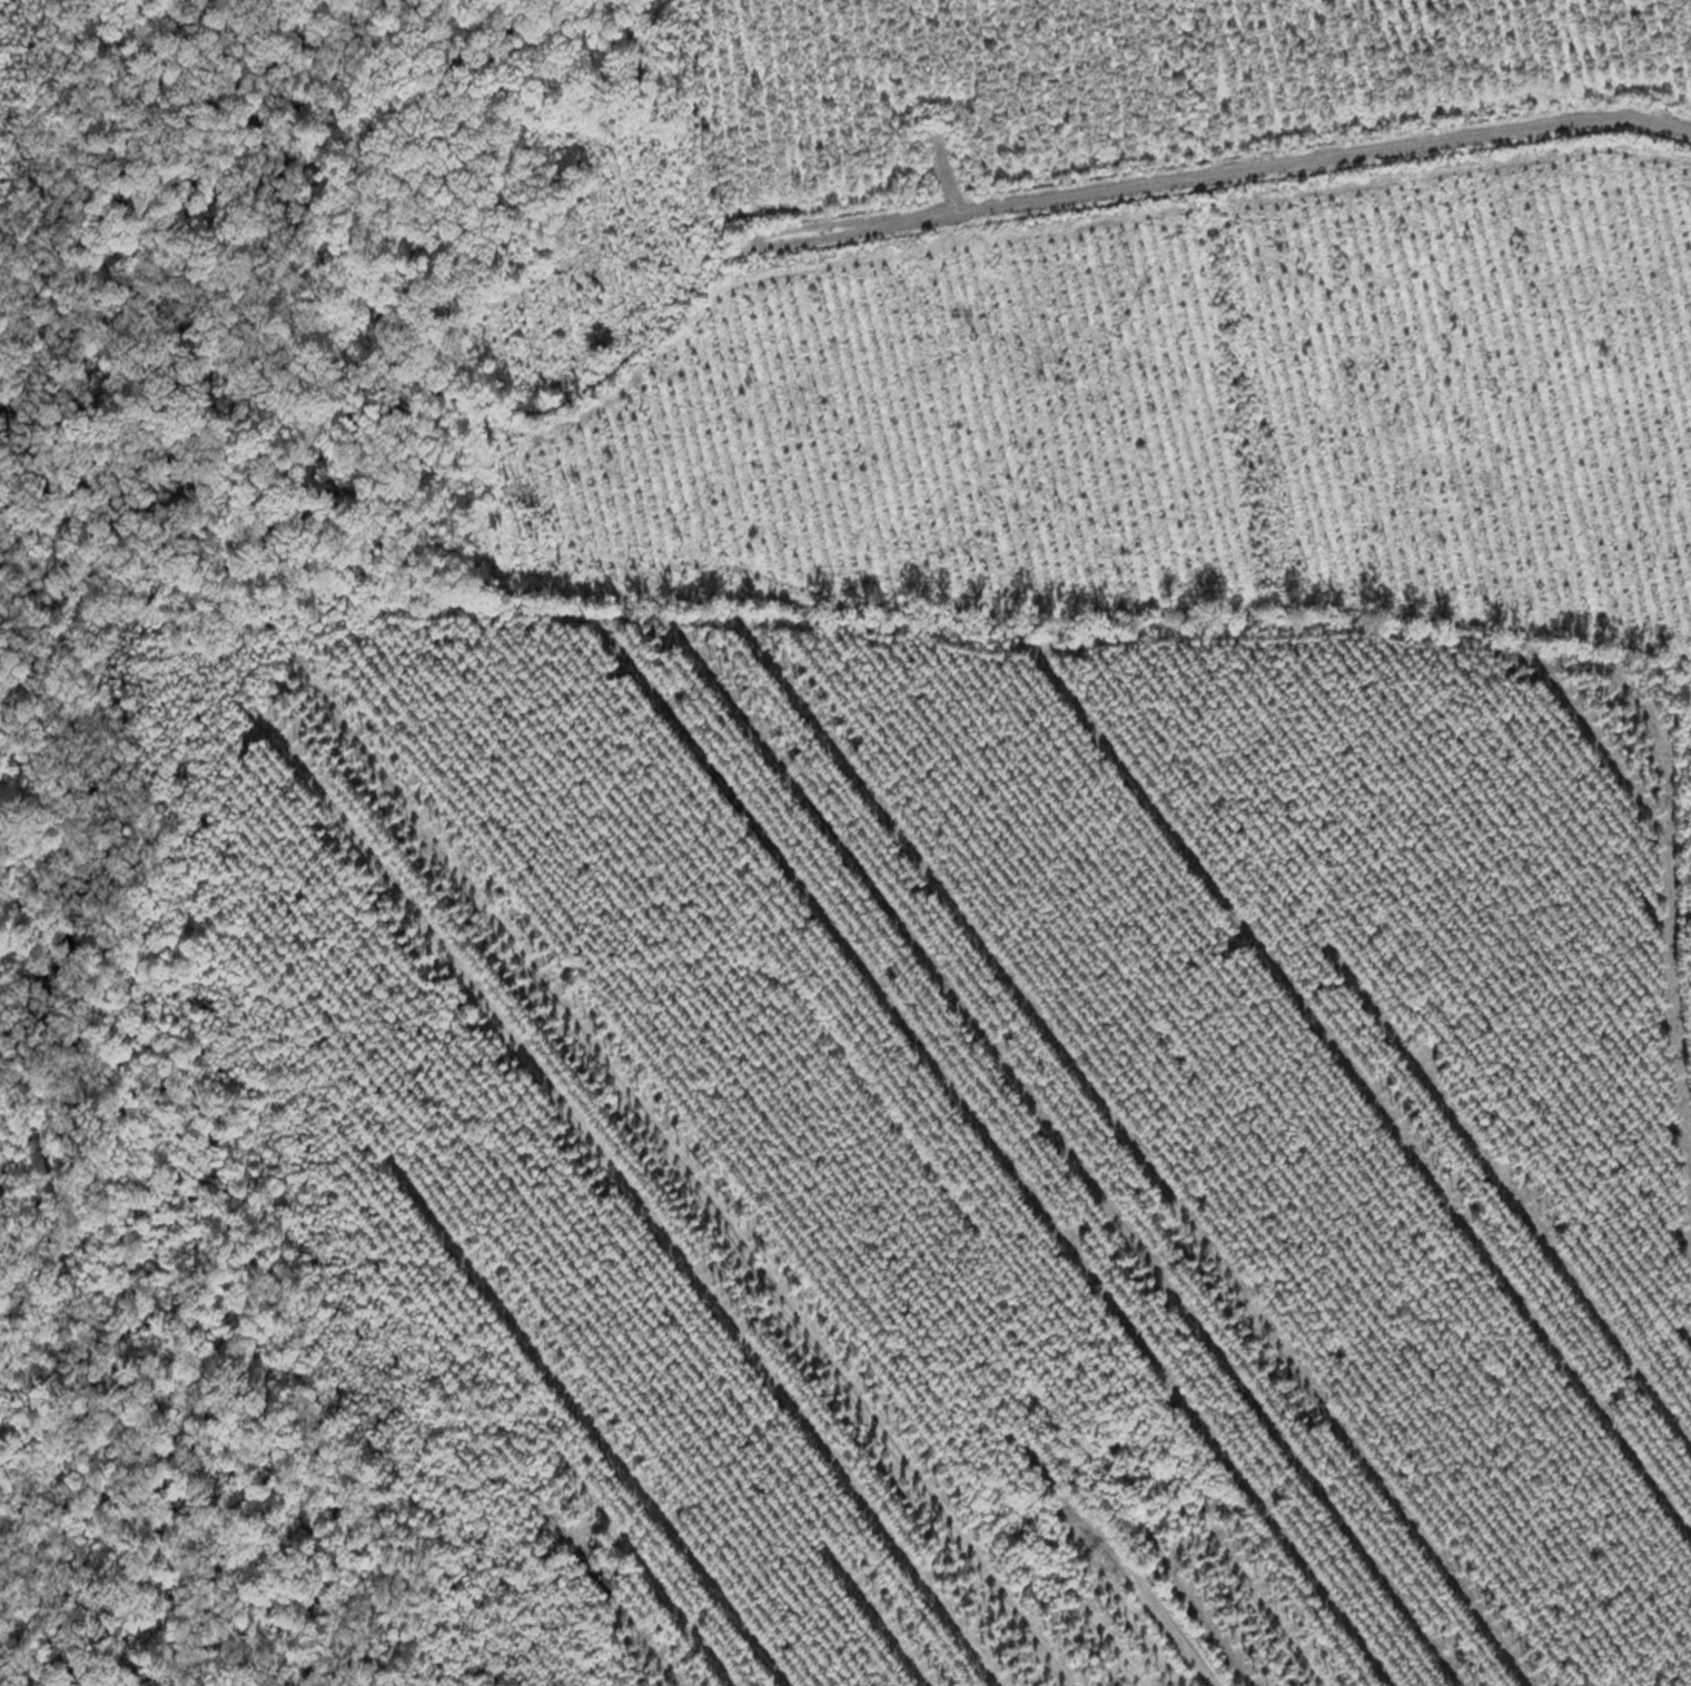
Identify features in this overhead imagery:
road: (1229, 170)

